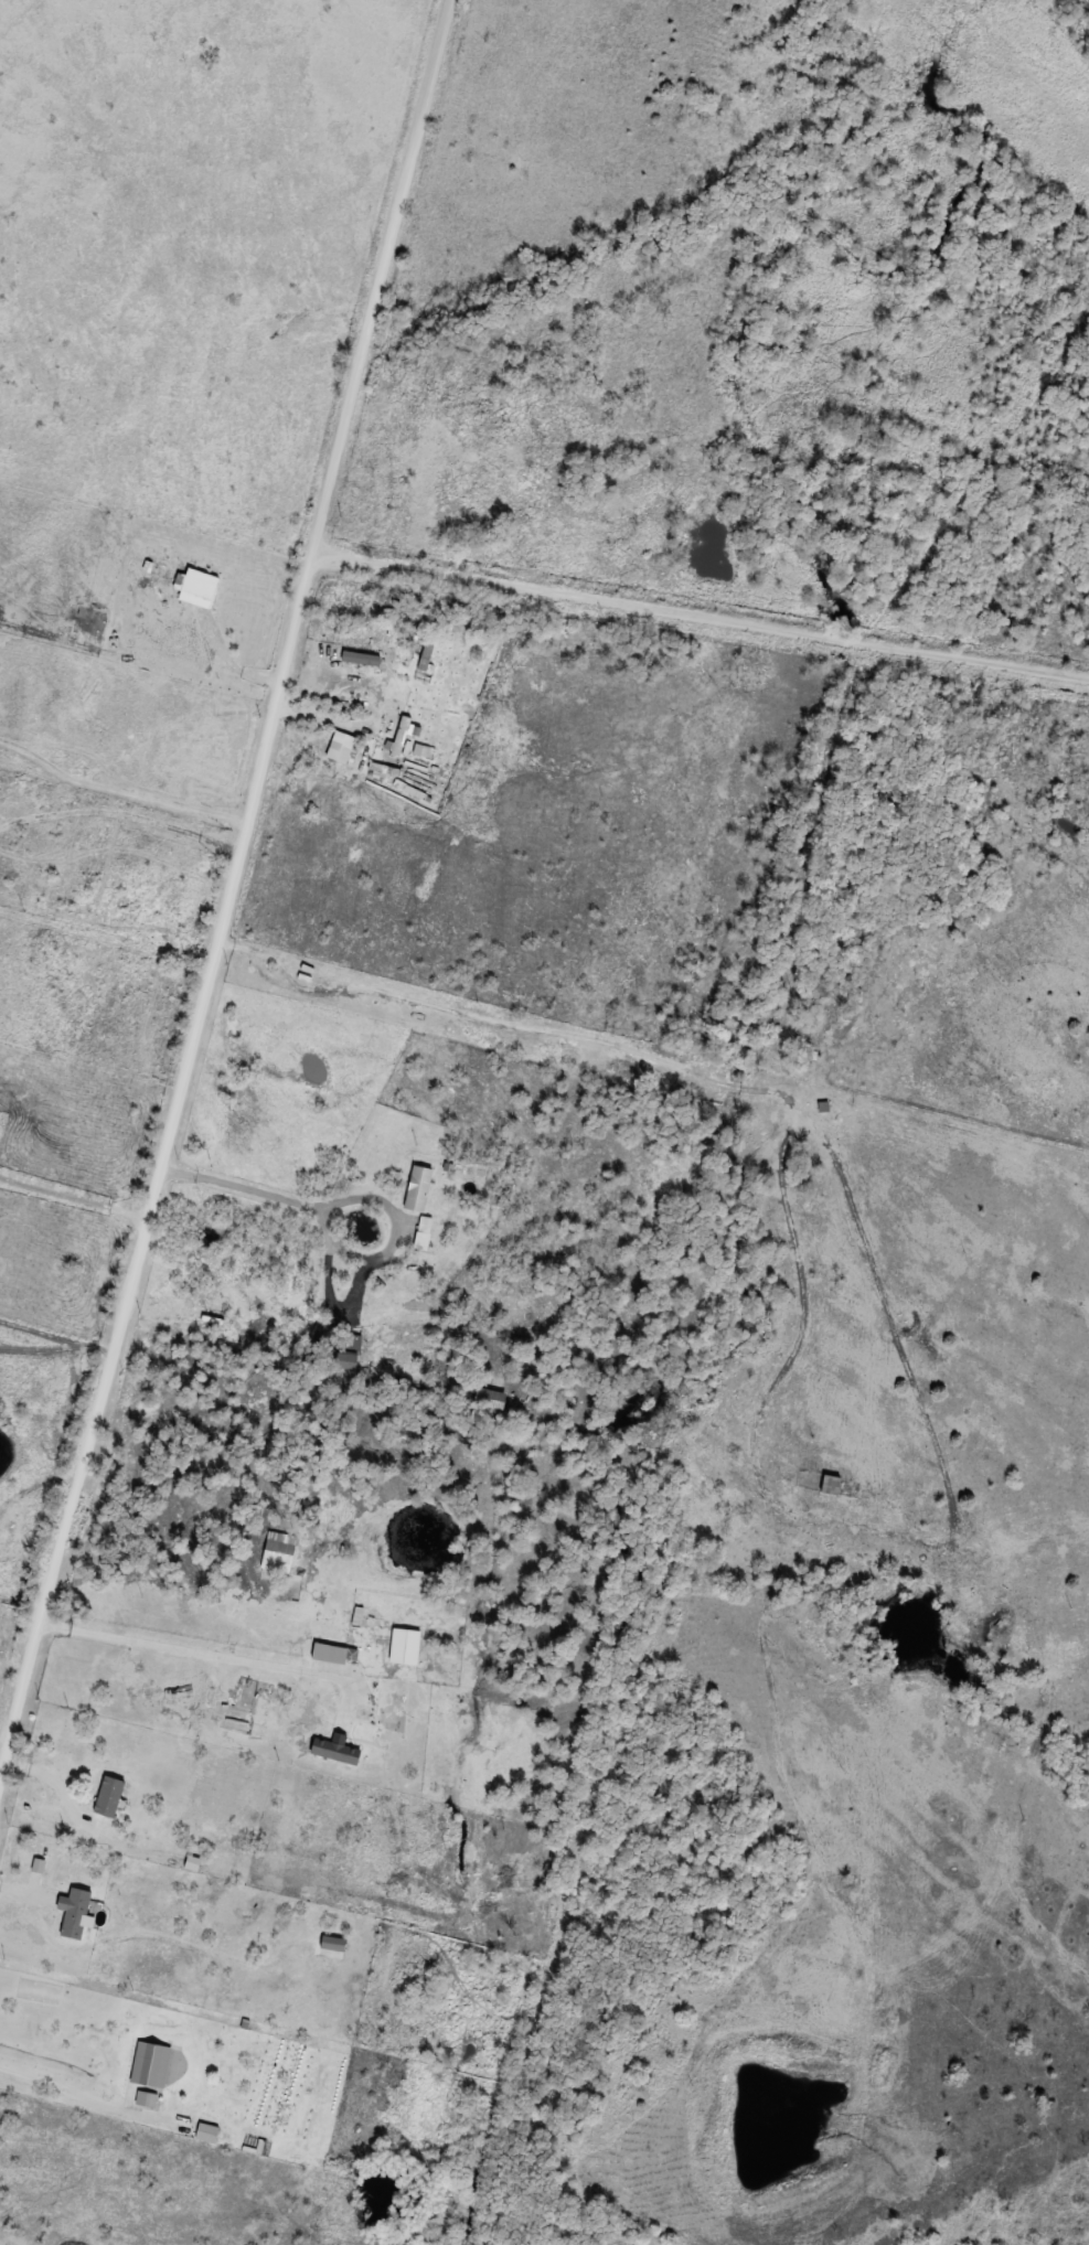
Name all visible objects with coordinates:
building: (469, 407)
building: (417, 599)
road: (700, 614)
building: (426, 652)
road: (228, 666)
building: (401, 736)
road: (225, 890)
building: (419, 1189)
road: (255, 1194)
road: (71, 1205)
building: (271, 1324)
building: (351, 1345)
building: (205, 1414)
road: (205, 1654)
building: (335, 1754)
building: (107, 1797)
building: (77, 1914)
building: (151, 2065)
road: (65, 2088)
building: (146, 2099)
building: (207, 2134)

